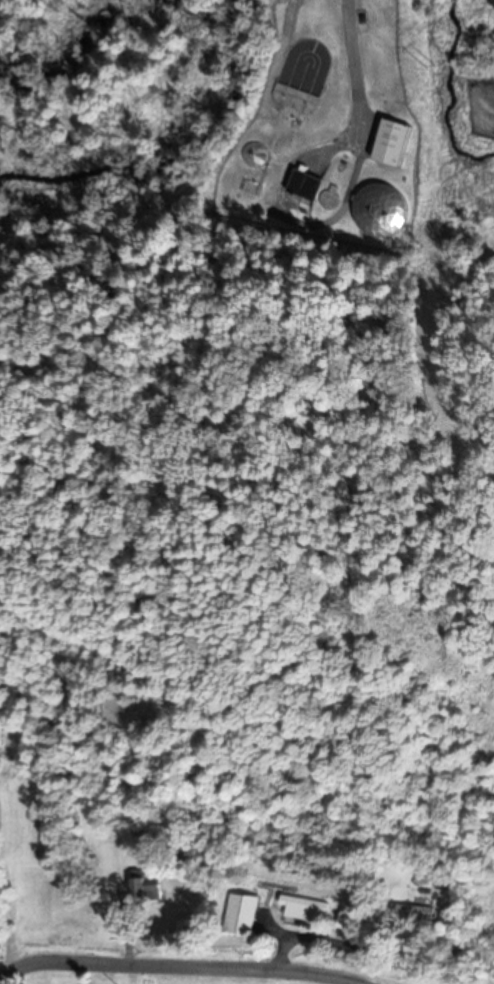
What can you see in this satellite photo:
road: (357, 64)
building: (393, 142)
building: (257, 154)
building: (305, 184)
building: (379, 209)
building: (146, 885)
building: (304, 909)
building: (242, 915)
building: (411, 915)
building: (346, 920)
road: (170, 968)

